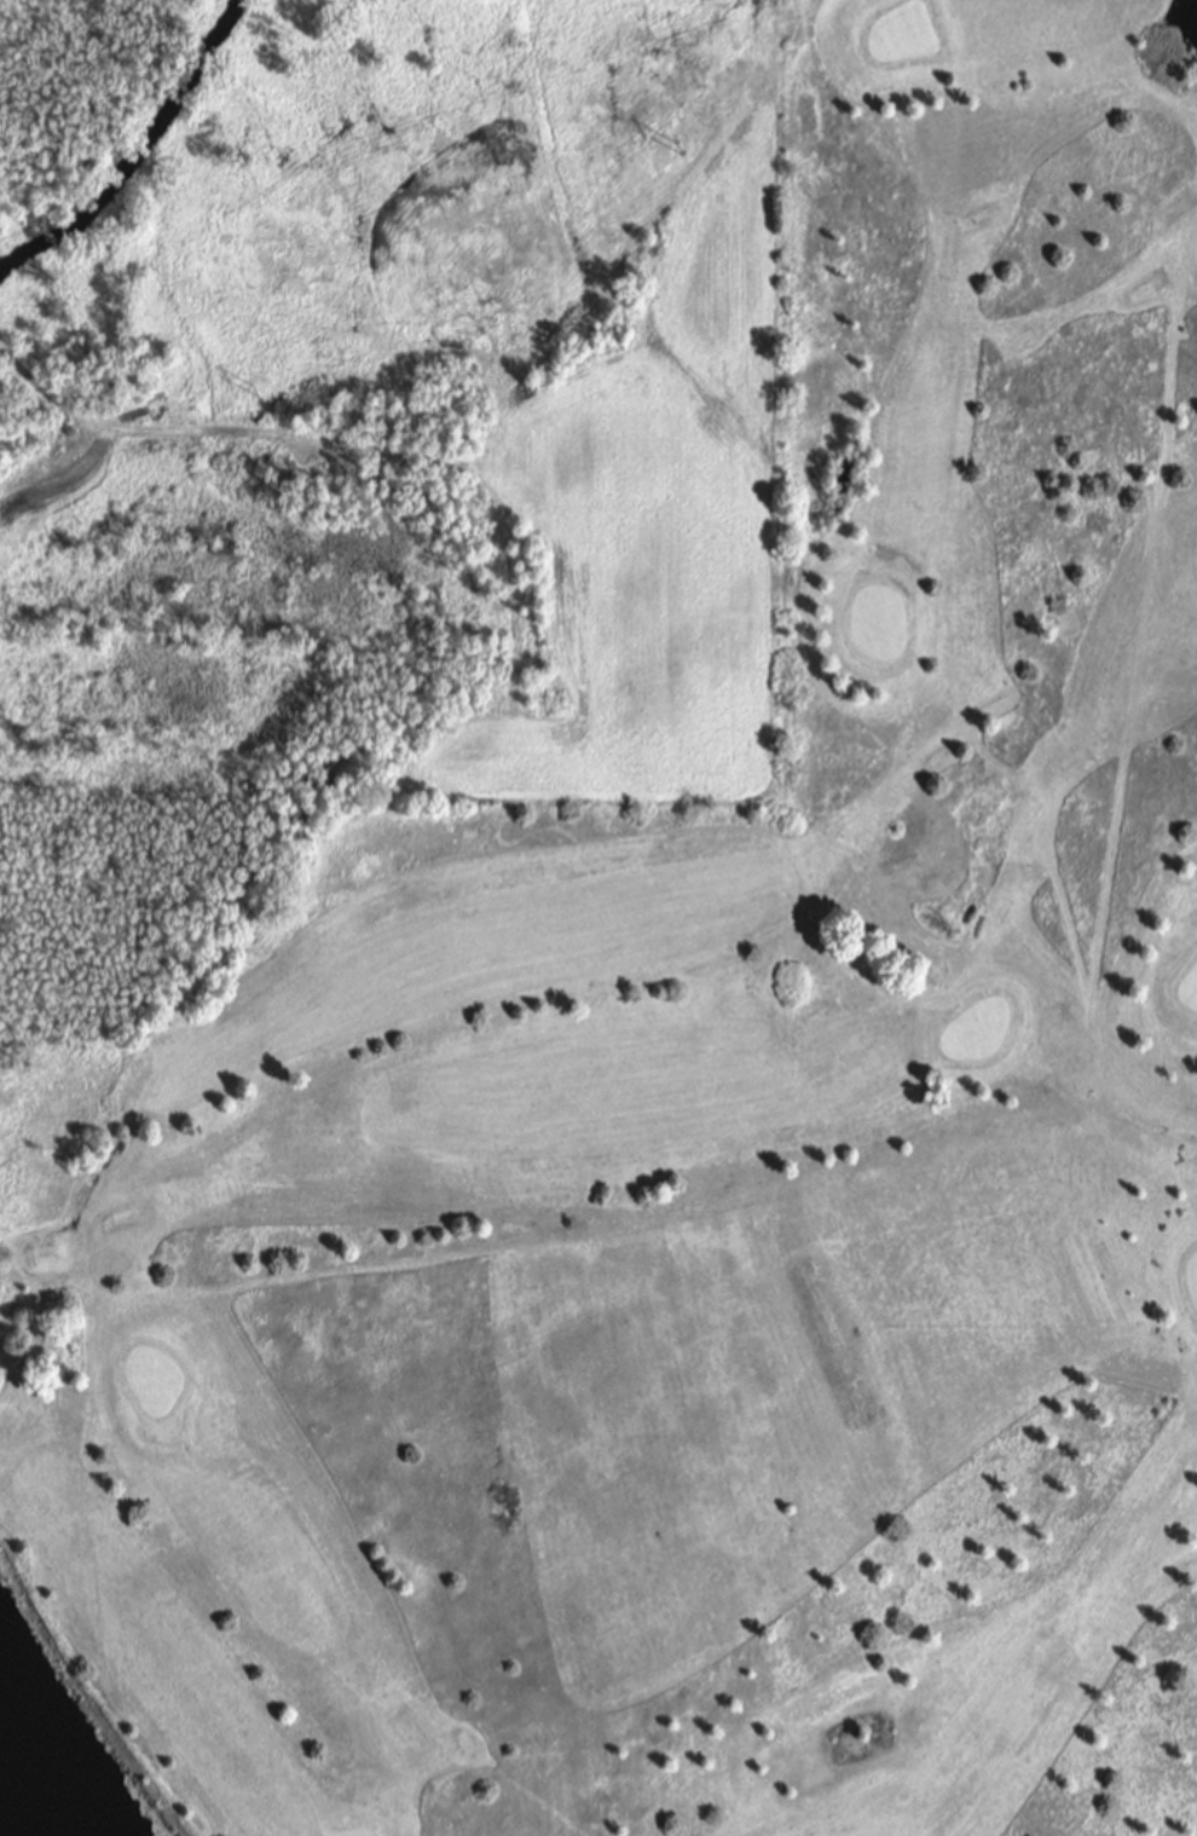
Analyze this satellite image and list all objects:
power tower: (667, 155)
power tower: (256, 392)
park: (695, 1114)
quarry: (63, 1734)

